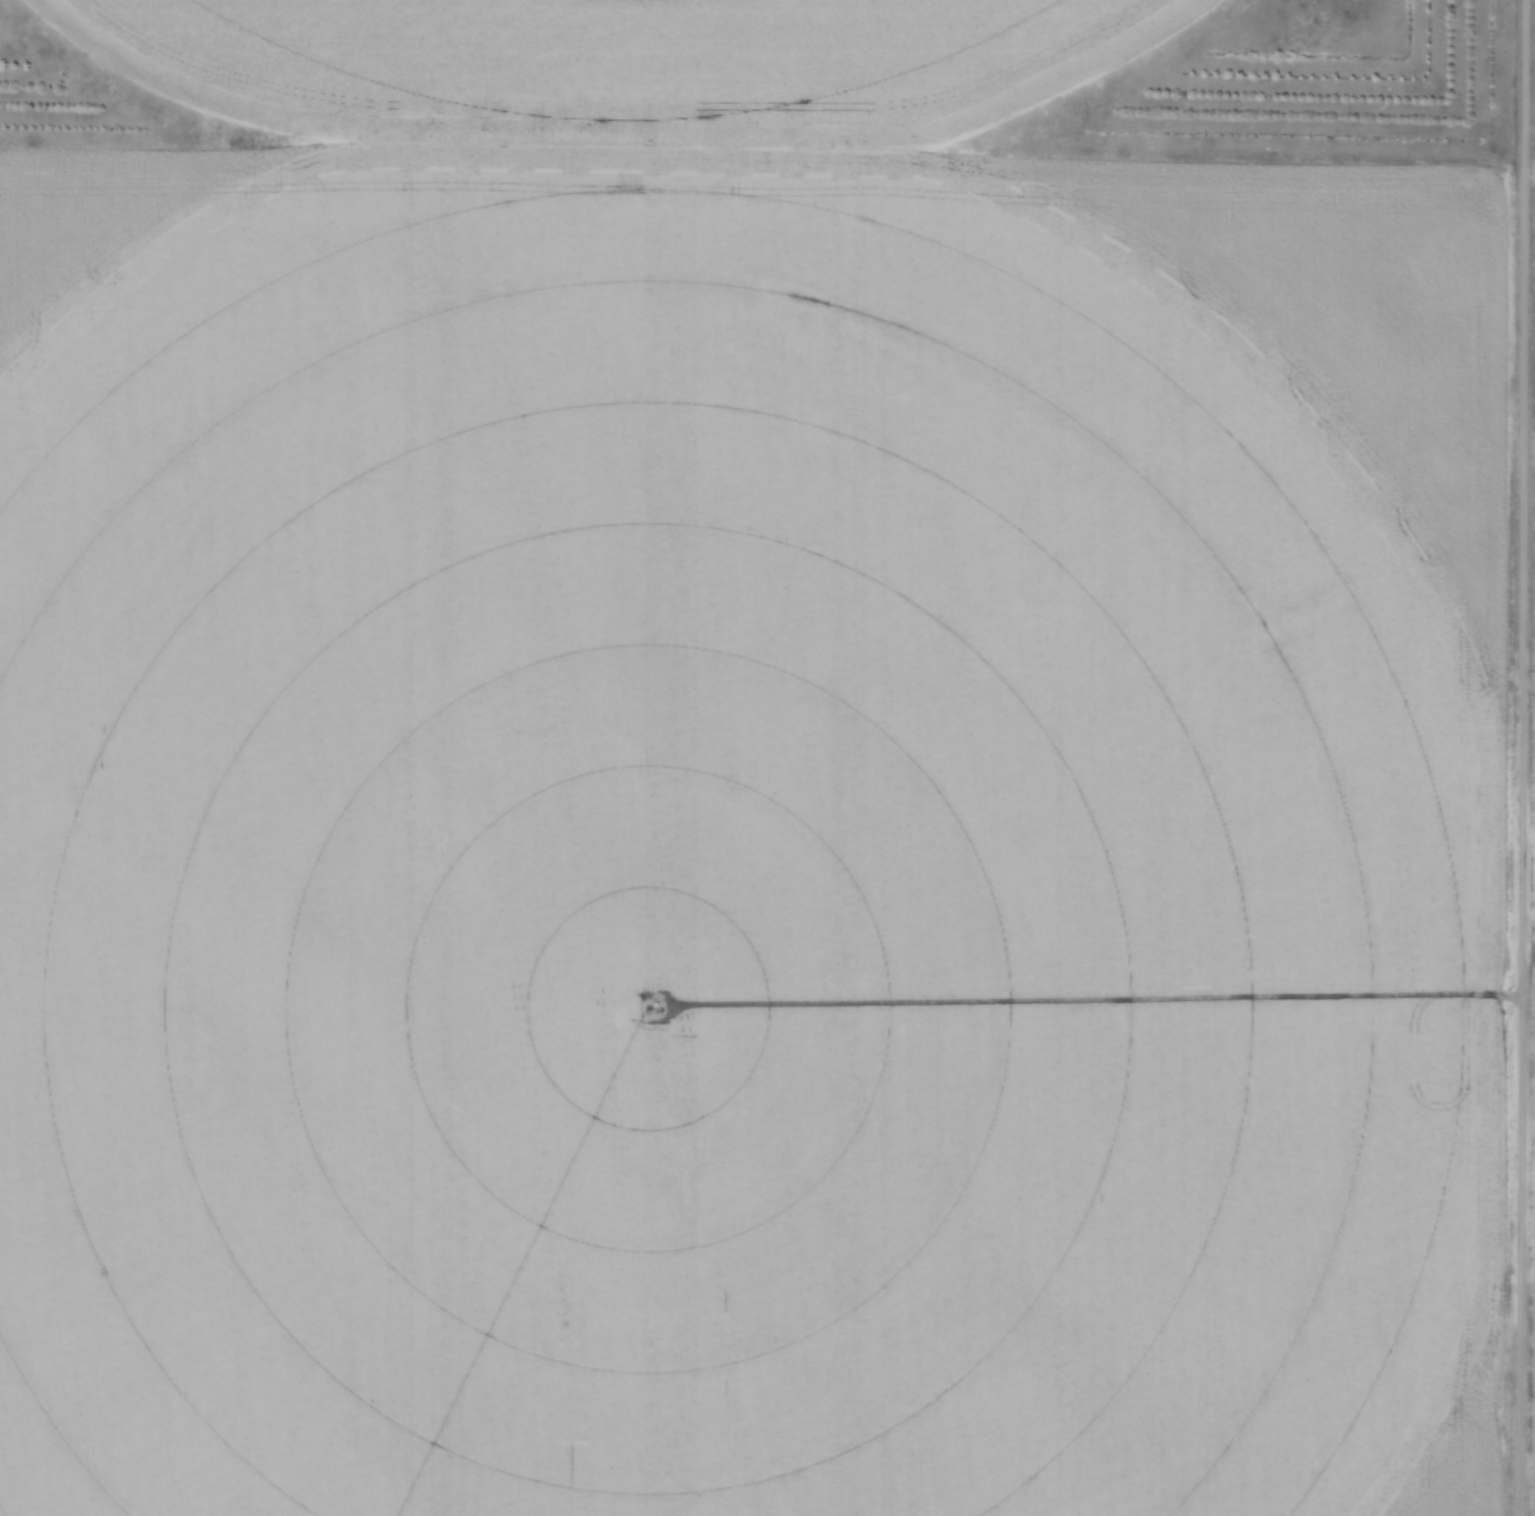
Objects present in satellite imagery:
road: (1521, 758)

